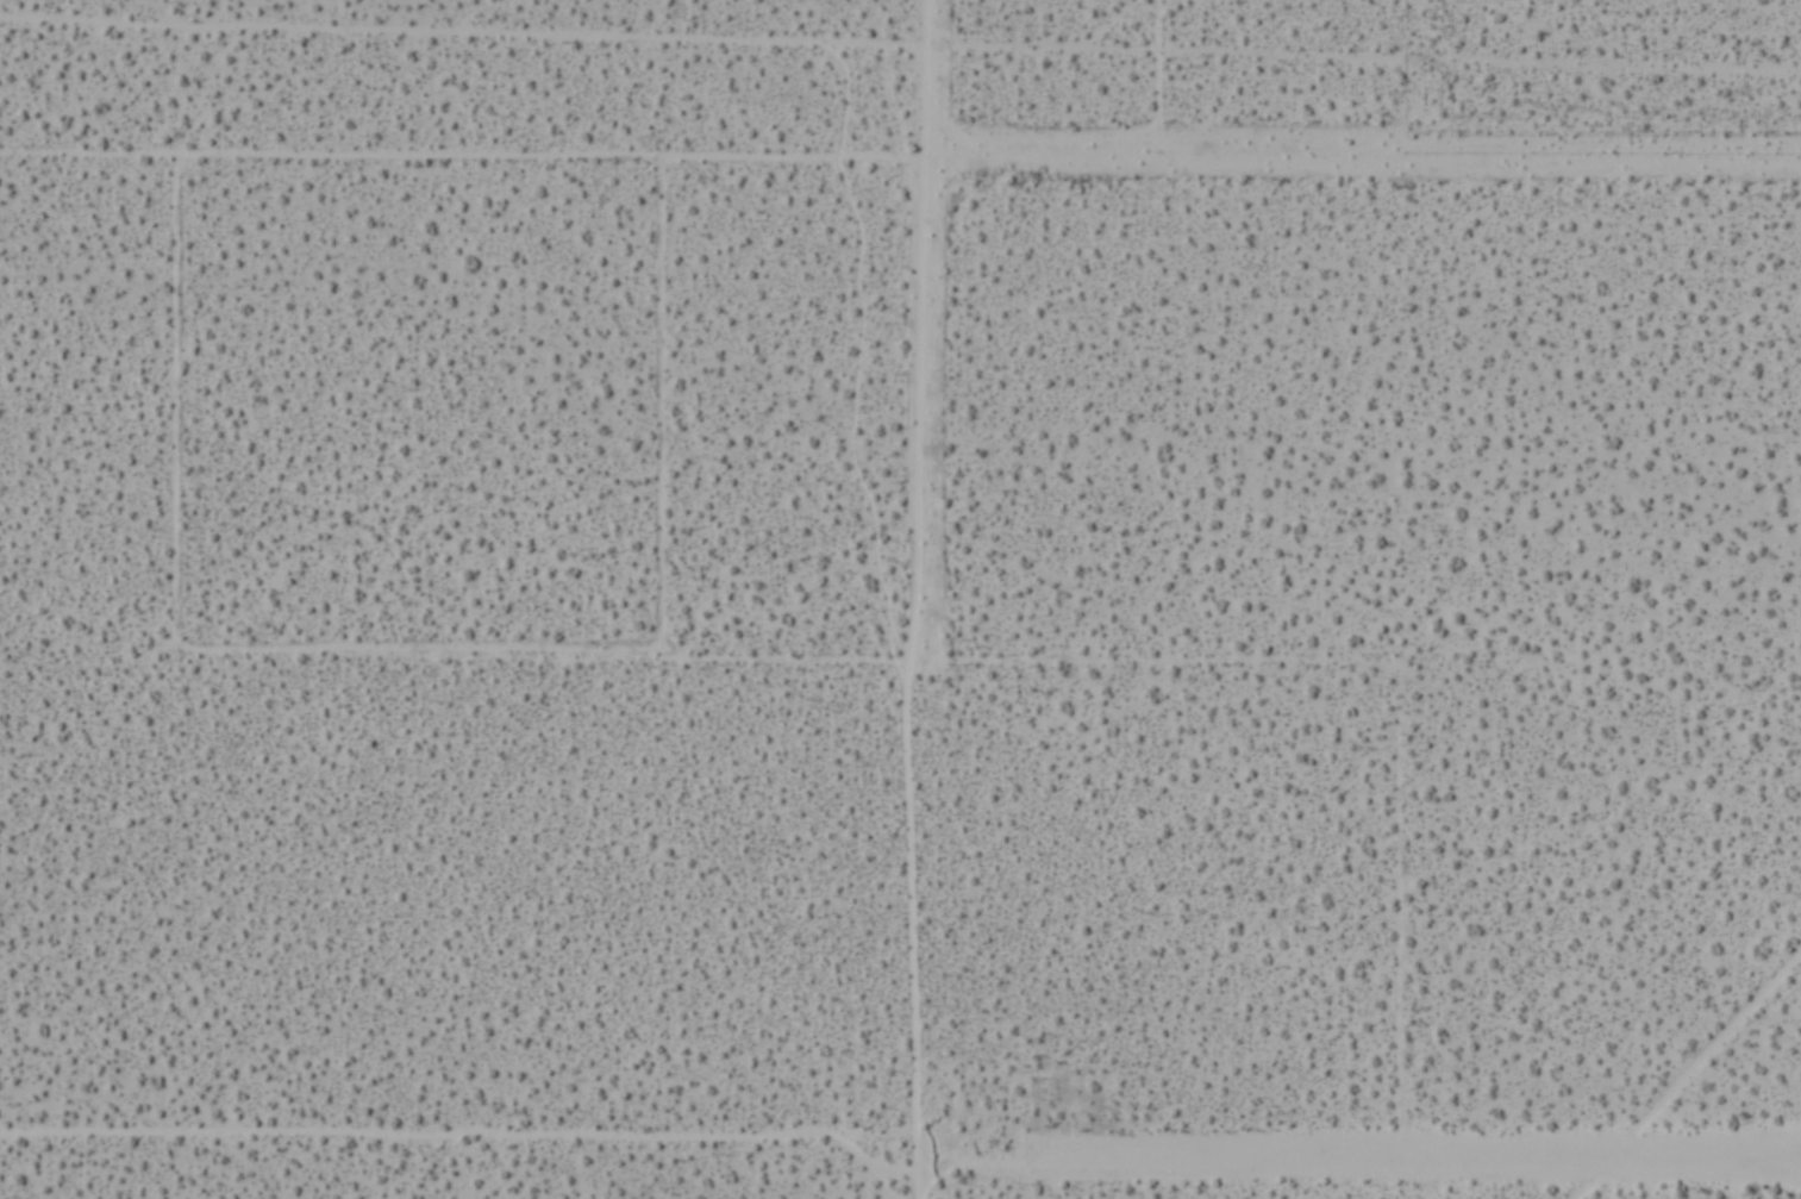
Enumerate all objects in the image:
road: (1353, 155)
road: (905, 599)
road: (464, 1138)
road: (1358, 1170)

